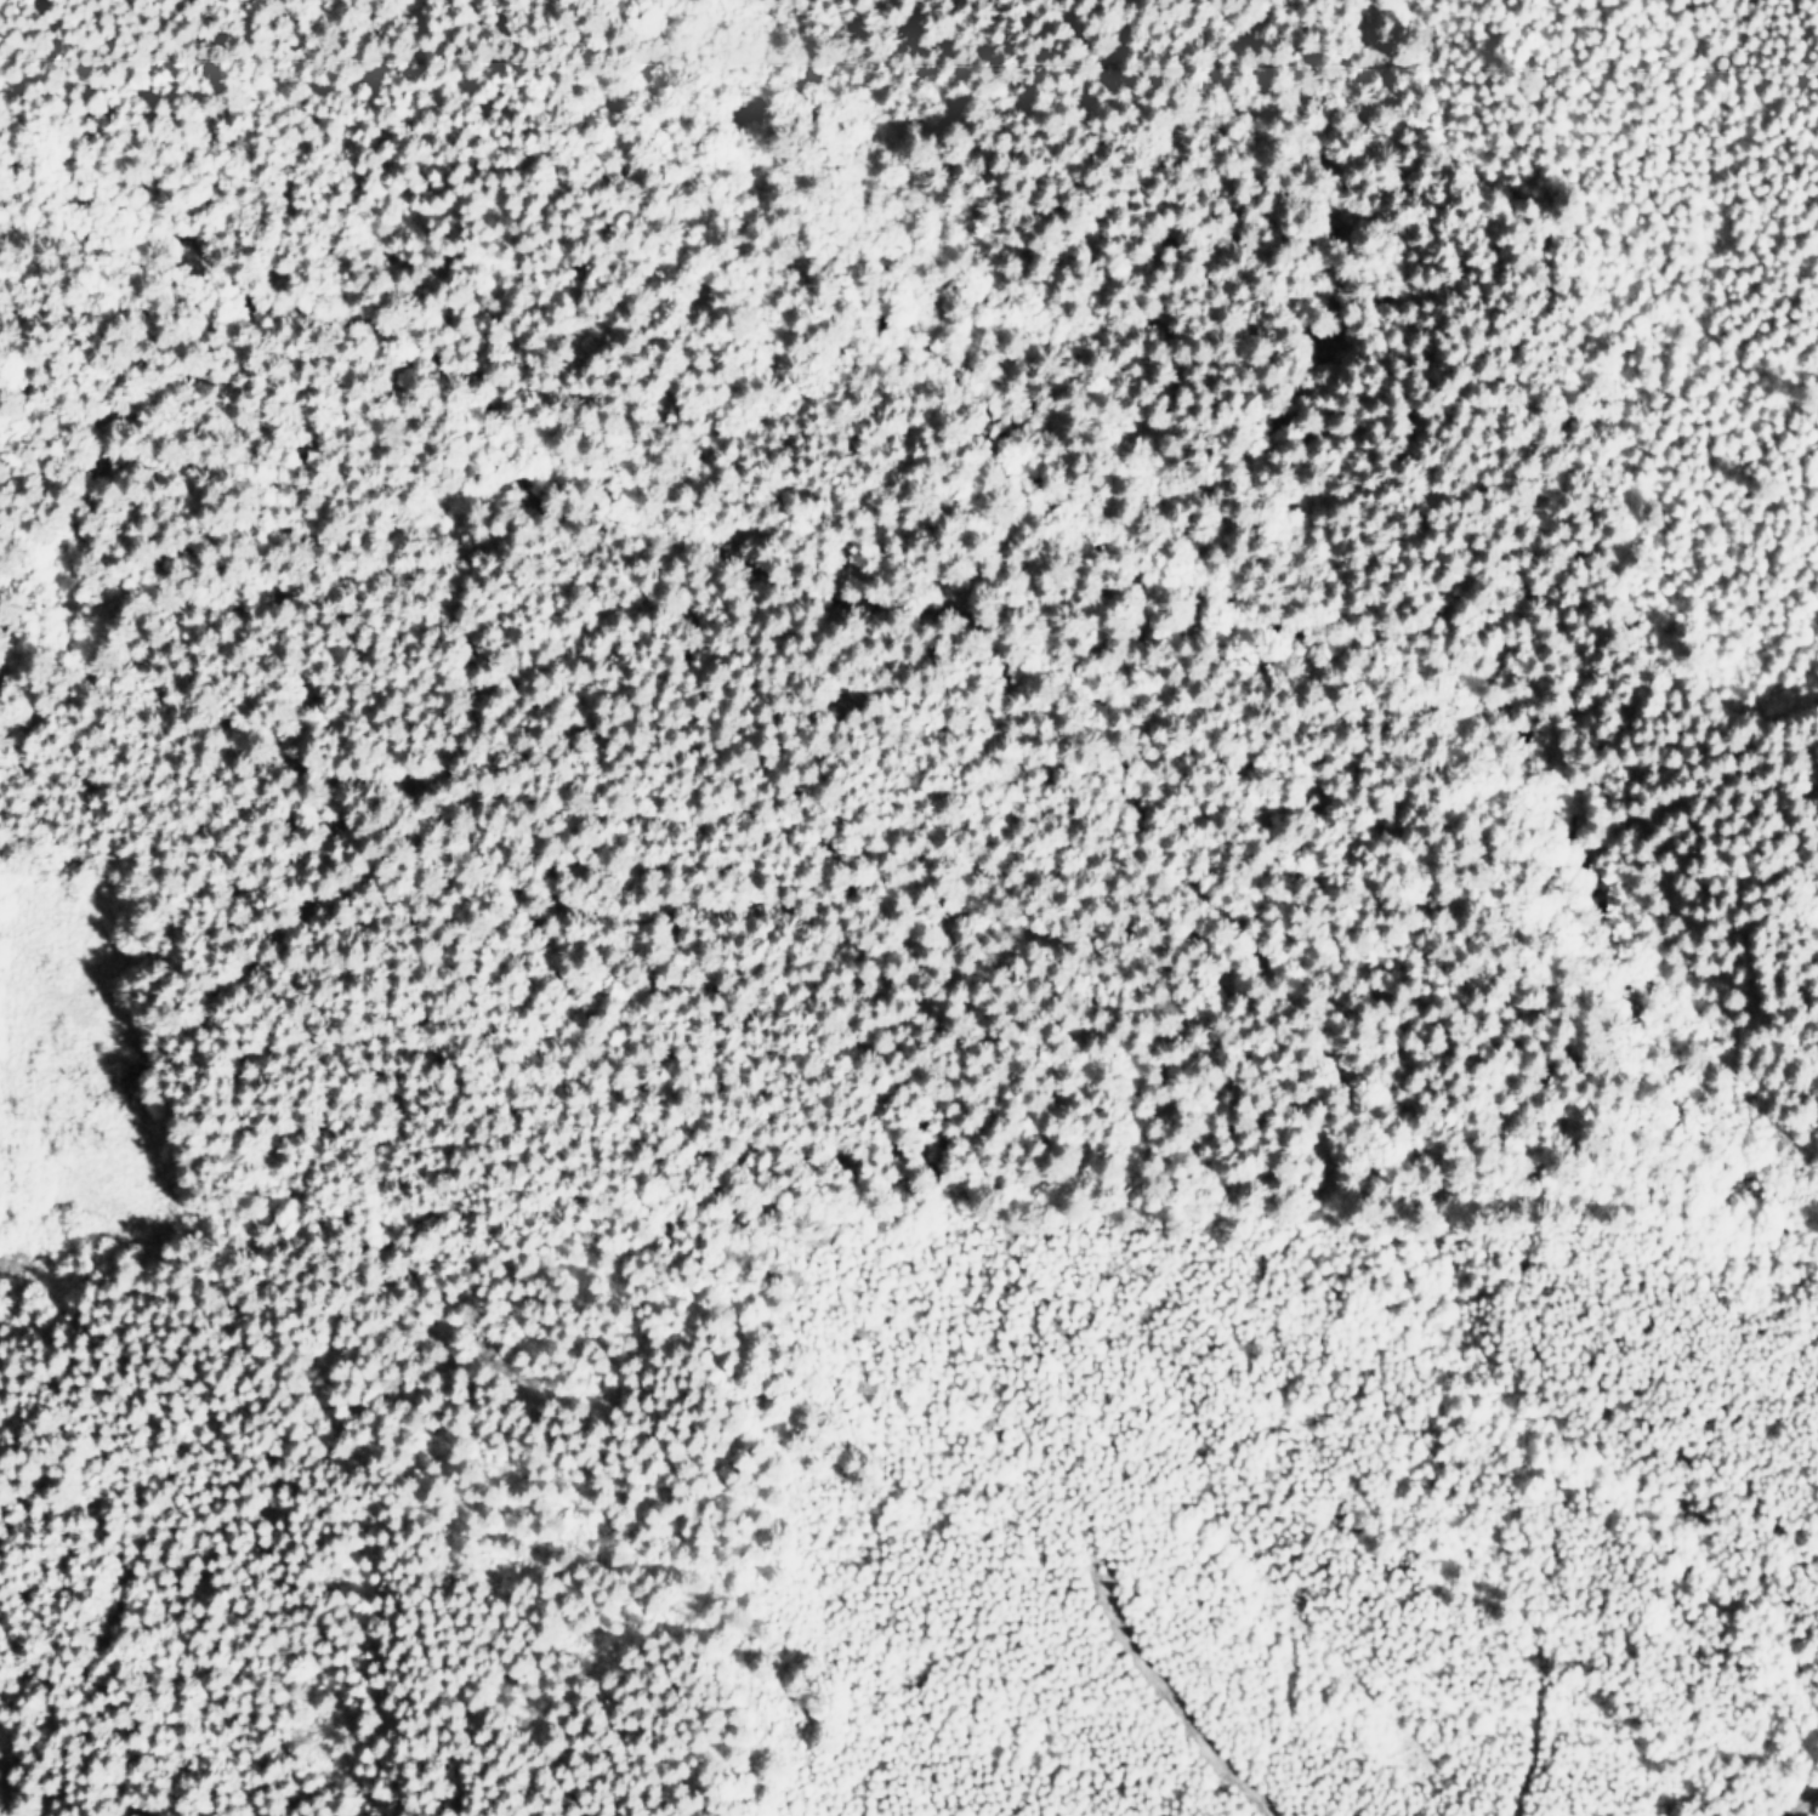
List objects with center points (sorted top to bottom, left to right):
road: (1803, 1804)

